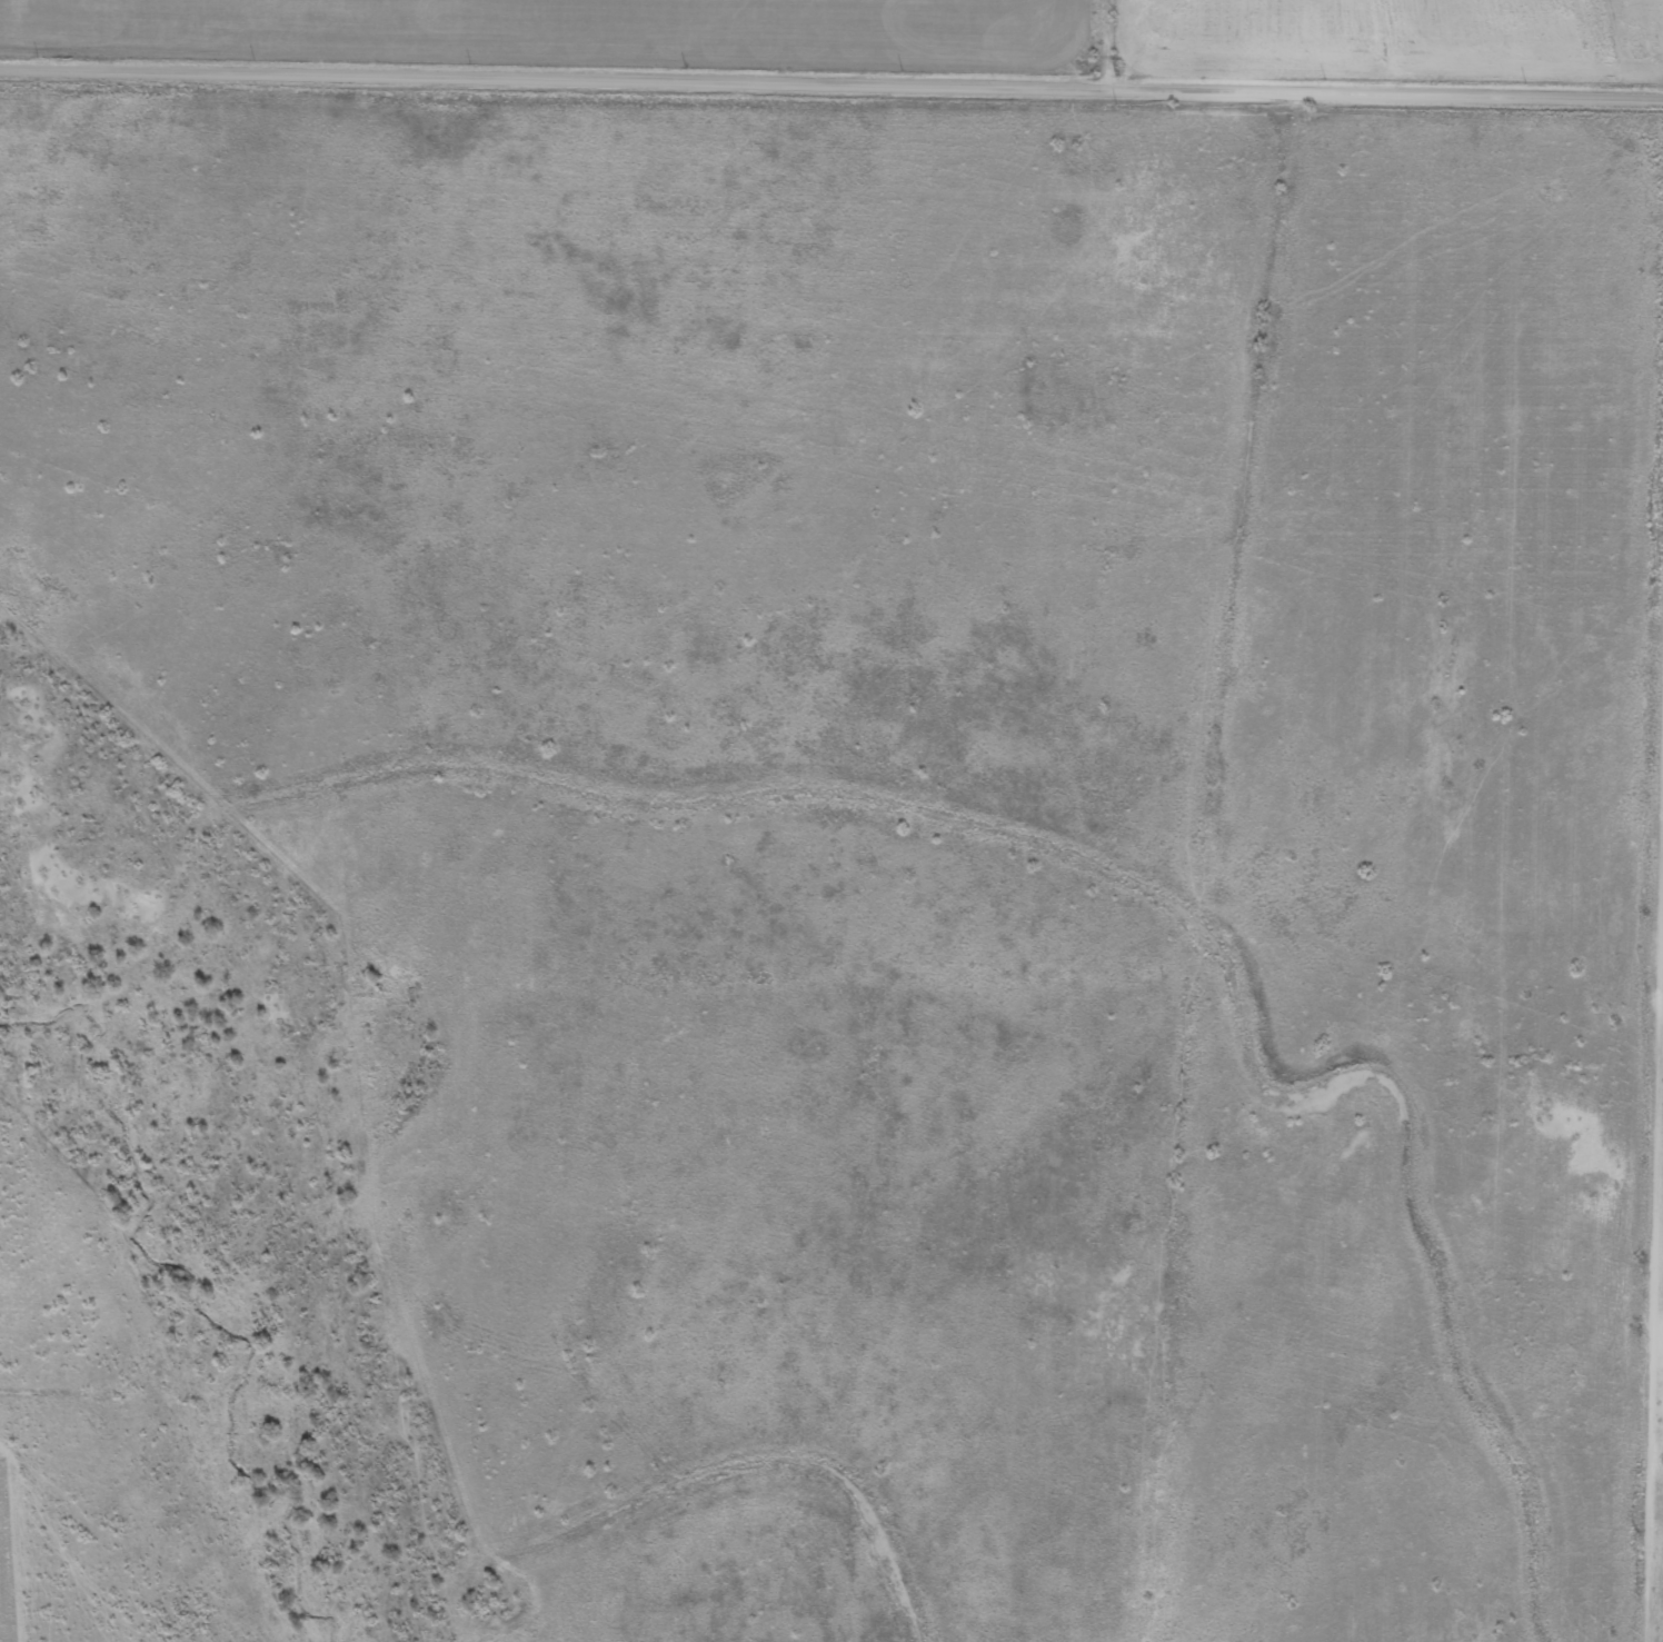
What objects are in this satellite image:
road: (1064, 43)
road: (830, 82)

